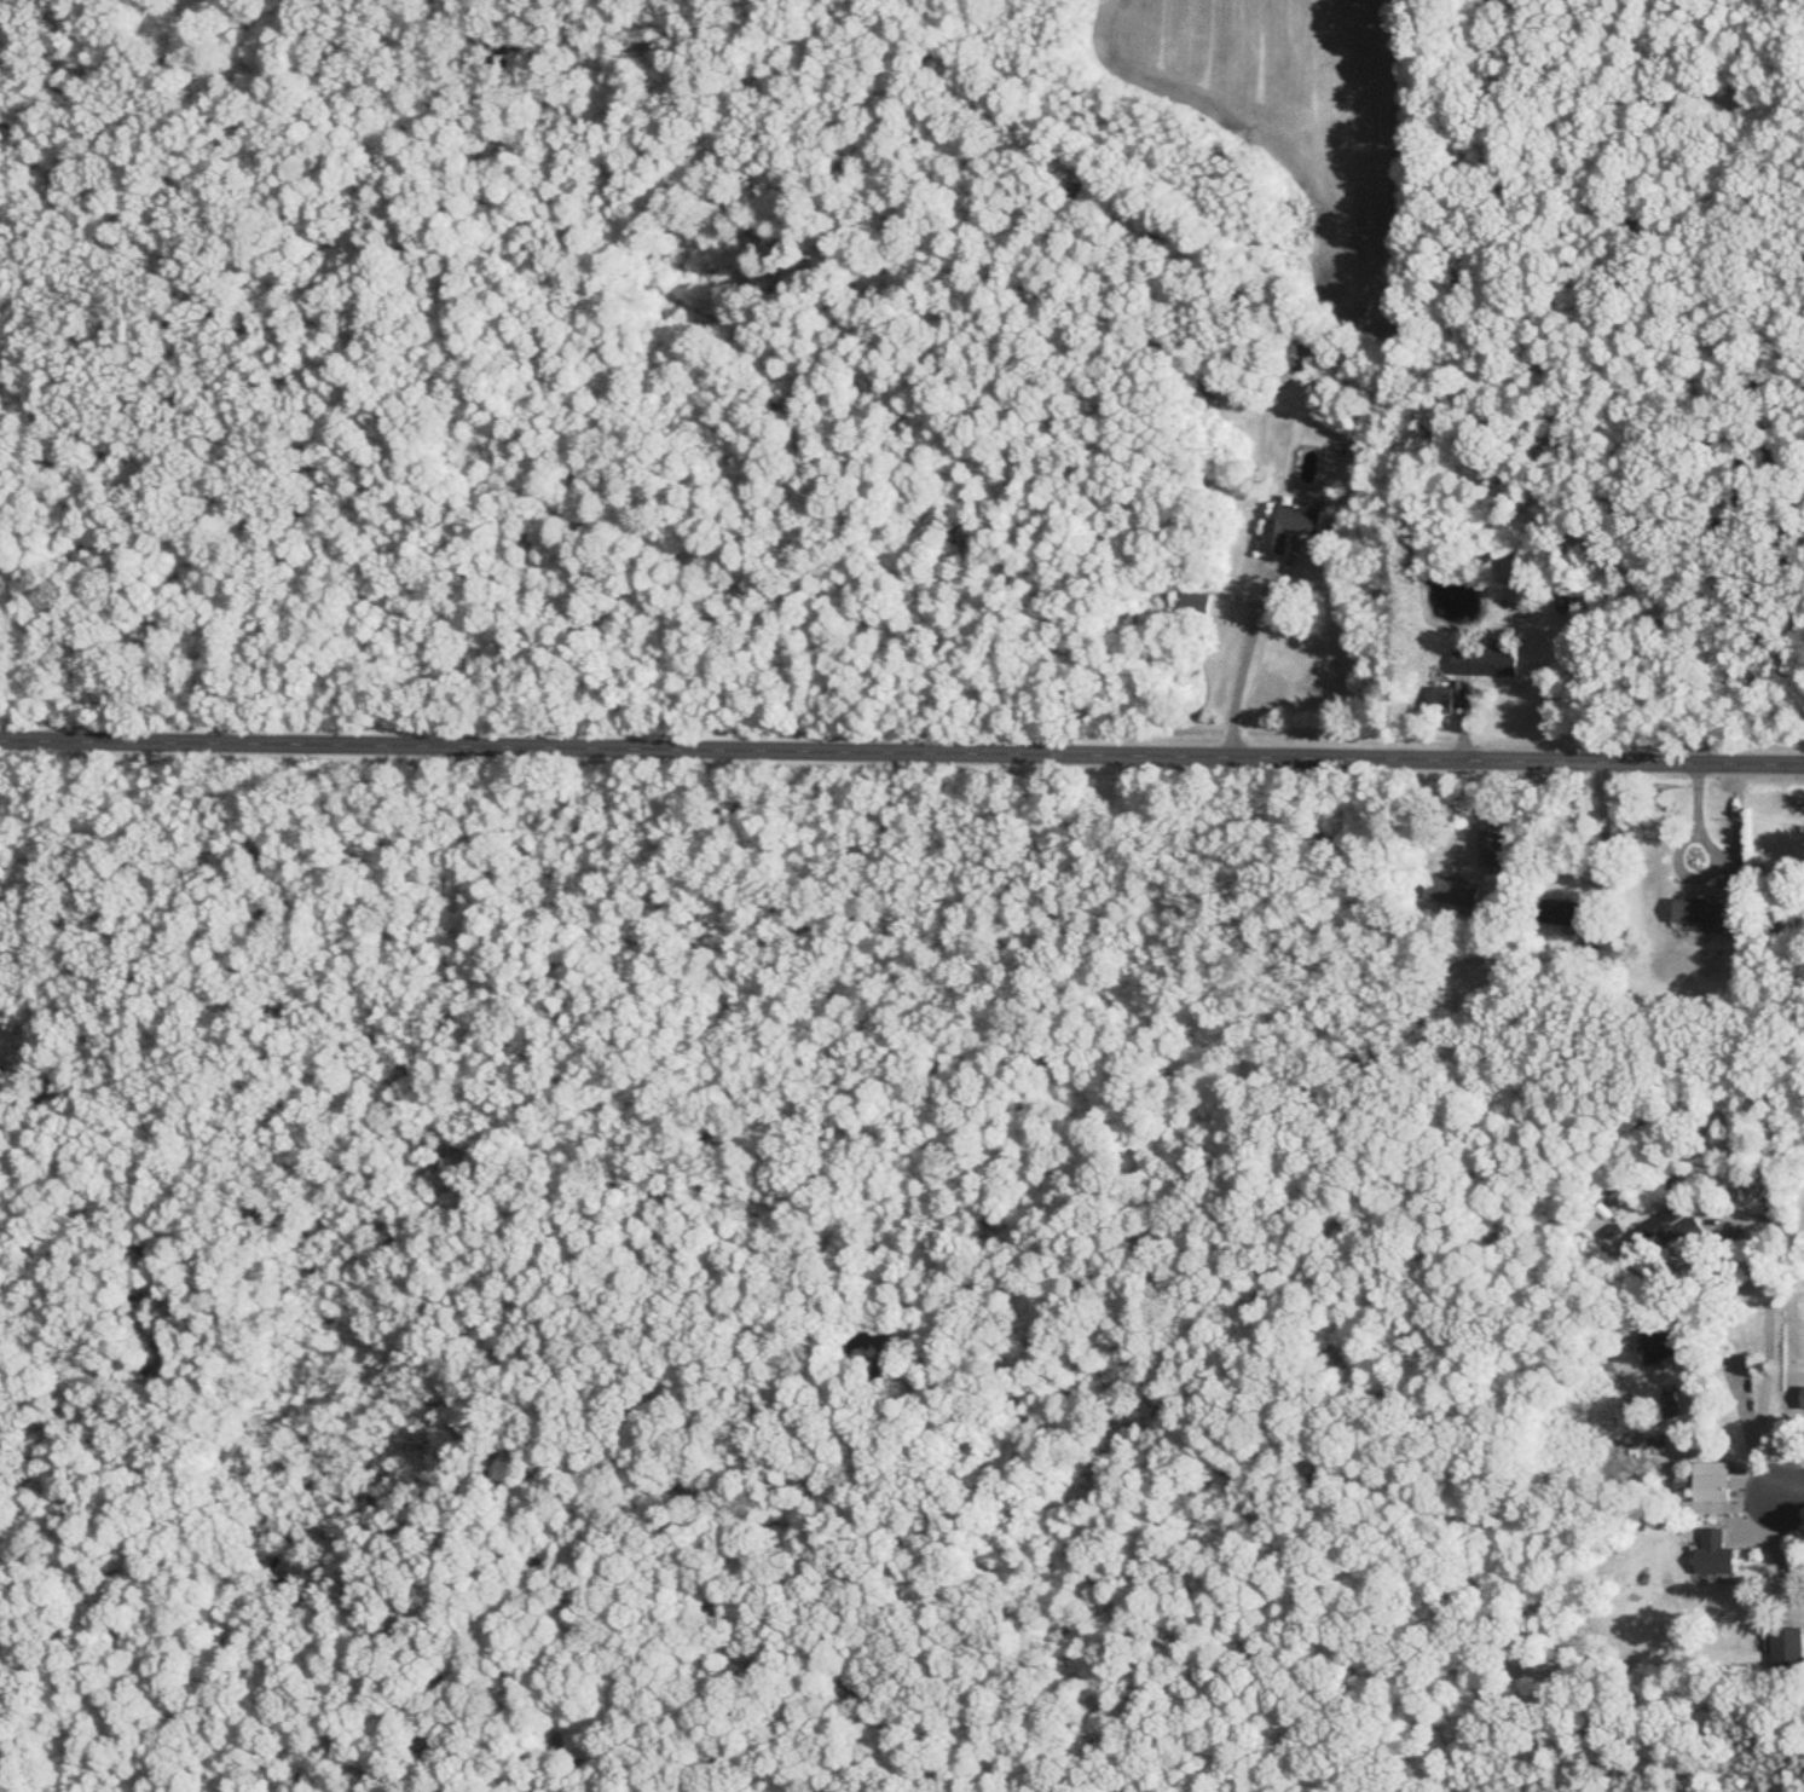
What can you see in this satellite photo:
building: (1294, 524)
building: (1197, 603)
building: (1486, 661)
road: (1245, 665)
road: (902, 752)
building: (1494, 846)
road: (1679, 849)
building: (1453, 890)
building: (1567, 912)
building: (1711, 914)
building: (1663, 1233)
building: (1672, 1335)
road: (1751, 1422)
building: (1712, 1480)
road: (1774, 1496)
building: (1716, 1553)

